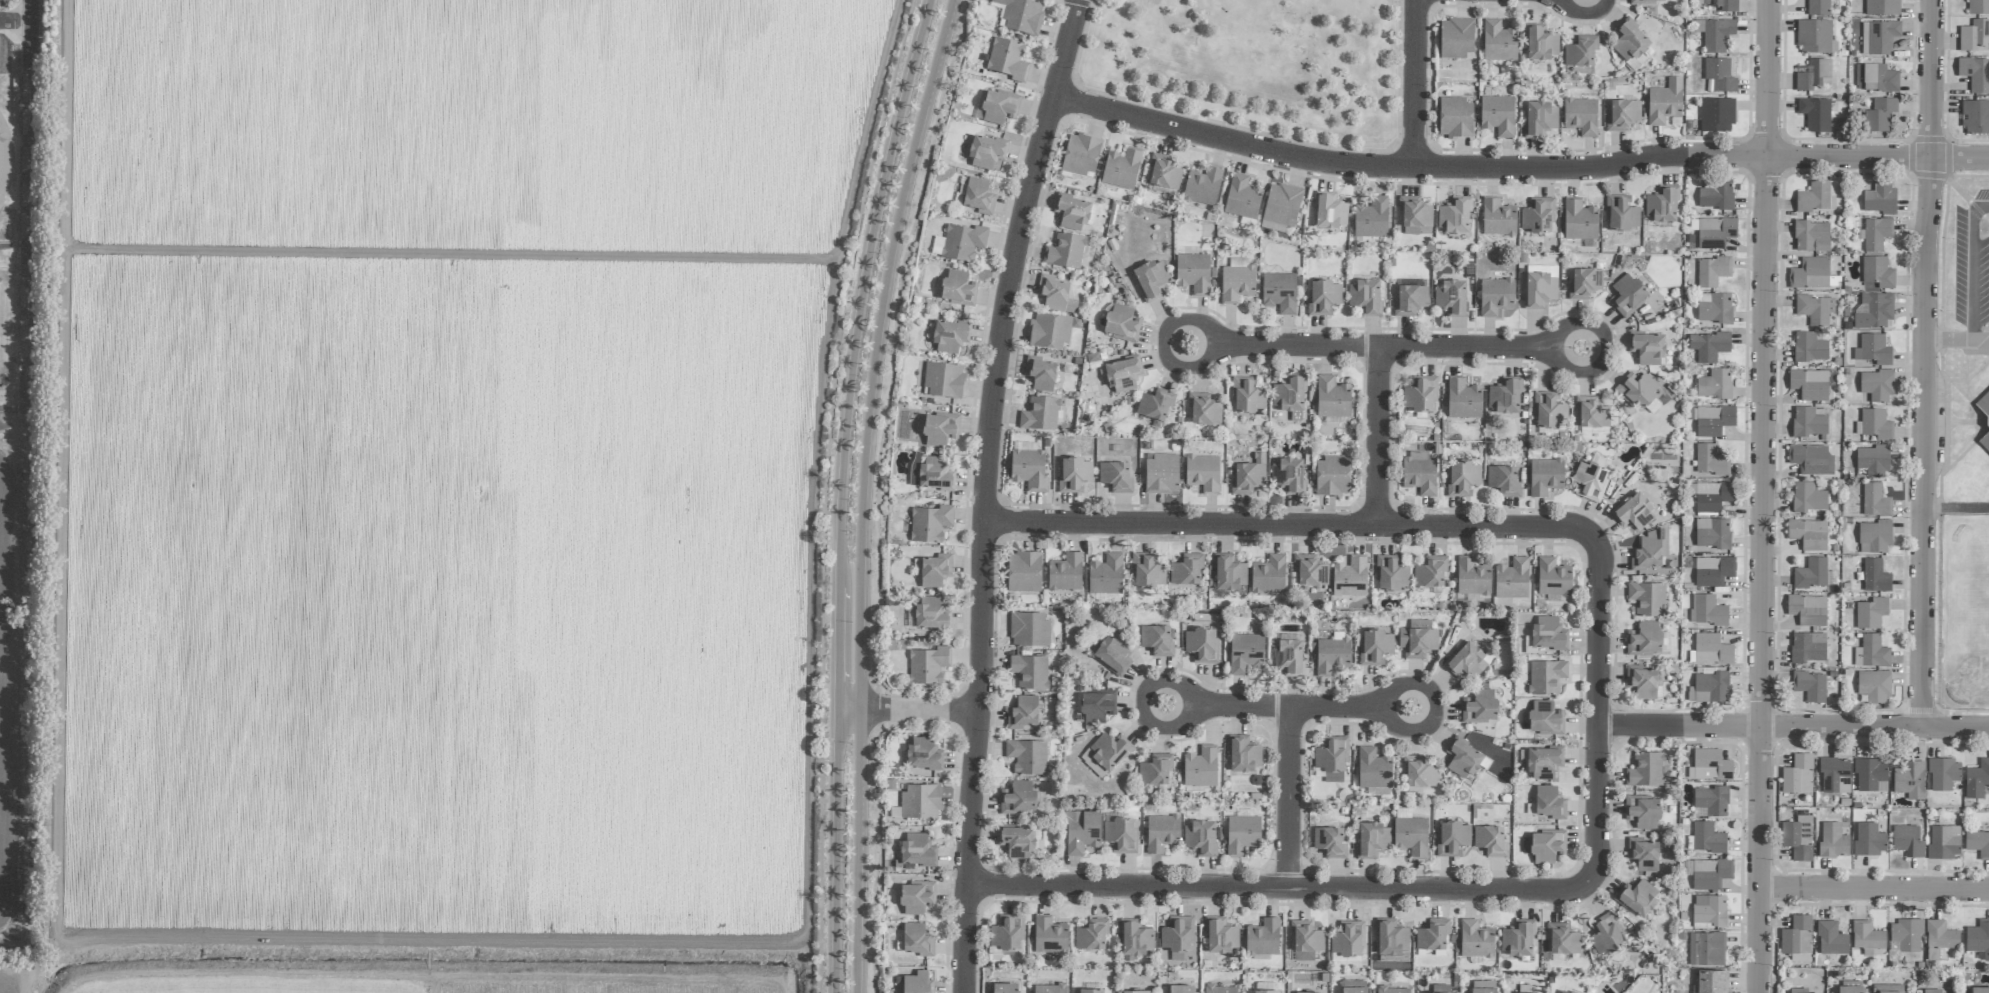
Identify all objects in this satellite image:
building: (1647, 1)
building: (1726, 5)
building: (1882, 7)
building: (1978, 7)
building: (1818, 8)
road: (30, 10)
building: (1021, 15)
road: (15, 19)
building: (1974, 35)
building: (1815, 37)
building: (1879, 37)
building: (1456, 38)
building: (1630, 41)
building: (1498, 42)
building: (1540, 44)
building: (1580, 52)
building: (1007, 59)
park: (1255, 64)
building: (1975, 74)
building: (1720, 75)
building: (1814, 75)
building: (1876, 78)
road: (1417, 84)
building: (1664, 102)
building: (998, 107)
building: (1815, 114)
building: (1497, 115)
building: (1622, 115)
building: (1717, 115)
building: (1880, 115)
building: (1581, 116)
building: (1975, 117)
building: (1455, 118)
building: (1540, 118)
building: (985, 152)
building: (1081, 155)
track: (5, 157)
road: (889, 157)
road: (911, 161)
building: (1121, 168)
road: (1519, 169)
building: (1163, 172)
building: (1202, 187)
building: (1717, 195)
building: (978, 196)
building: (1818, 197)
building: (1242, 198)
building: (1880, 198)
building: (1281, 205)
building: (1661, 205)
building: (1074, 212)
building: (1329, 212)
building: (1621, 214)
building: (1412, 215)
building: (1537, 215)
building: (1454, 216)
building: (1371, 218)
building: (1498, 218)
building: (1579, 221)
building: (1713, 232)
building: (1876, 233)
building: (1811, 236)
building: (963, 242)
building: (937, 245)
building: (1065, 251)
road: (1972, 264)
building: (1712, 271)
building: (1877, 272)
building: (1193, 273)
building: (1810, 274)
building: (1151, 279)
building: (1237, 281)
building: (1585, 283)
building: (1539, 286)
building: (958, 288)
building: (1279, 292)
building: (1055, 294)
building: (1627, 295)
building: (1495, 296)
building: (1323, 297)
building: (1365, 297)
building: (1451, 298)
building: (1410, 300)
building: (1714, 308)
building: (1815, 309)
building: (1875, 311)
building: (1121, 323)
building: (1051, 330)
building: (949, 336)
road: (1980, 336)
road: (1949, 337)
building: (1709, 346)
building: (1810, 346)
road: (1387, 347)
building: (1648, 349)
building: (1873, 350)
road: (1925, 364)
building: (1041, 373)
building: (1123, 375)
building: (943, 380)
building: (1714, 384)
building: (1809, 384)
building: (1877, 385)
building: (1637, 390)
building: (1420, 394)
building: (1504, 396)
building: (1247, 397)
building: (1290, 397)
building: (1332, 398)
building: (1463, 400)
building: (1983, 404)
building: (1155, 406)
building: (1203, 409)
road: (7, 410)
building: (1549, 411)
building: (1590, 413)
building: (1040, 414)
building: (1713, 421)
building: (1808, 422)
building: (1876, 425)
building: (940, 429)
building: (1593, 431)
road: (1381, 437)
building: (1985, 443)
building: (1811, 459)
building: (1710, 461)
building: (1873, 461)
building: (1029, 470)
building: (1203, 473)
building: (1419, 473)
building: (1073, 474)
building: (1162, 474)
building: (1289, 475)
building: (1115, 476)
building: (1332, 476)
building: (1545, 476)
building: (1247, 477)
building: (1462, 478)
building: (1503, 480)
building: (1591, 481)
crop: (435, 489)
road: (987, 491)
building: (1711, 496)
road: (1765, 496)
building: (1808, 498)
building: (1875, 501)
building: (1634, 512)
road: (860, 515)
building: (930, 523)
road: (1295, 526)
building: (1712, 533)
building: (1808, 534)
building: (1874, 537)
building: (1651, 551)
building: (1186, 569)
building: (934, 570)
building: (1310, 570)
building: (1147, 571)
building: (1713, 571)
building: (1023, 572)
building: (1065, 573)
building: (1229, 573)
building: (1430, 573)
building: (1811, 573)
building: (1391, 574)
building: (1106, 575)
building: (1268, 575)
building: (1875, 576)
building: (1472, 577)
building: (1349, 578)
building: (1553, 578)
building: (1512, 579)
building: (1647, 598)
building: (1808, 610)
building: (1710, 611)
building: (1871, 613)
building: (930, 614)
building: (1029, 630)
building: (1547, 633)
building: (1417, 639)
building: (1644, 639)
building: (1156, 640)
building: (1201, 645)
building: (1376, 646)
building: (1808, 647)
building: (1712, 650)
building: (1245, 652)
building: (1871, 652)
building: (1113, 653)
building: (1332, 654)
road: (834, 655)
building: (1288, 657)
building: (1466, 659)
building: (928, 665)
building: (1030, 671)
building: (1546, 677)
building: (1642, 681)
building: (1810, 686)
building: (1874, 686)
building: (1709, 688)
building: (1097, 706)
road: (1277, 707)
building: (1479, 707)
road: (907, 709)
building: (1022, 712)
road: (1602, 713)
building: (1545, 718)
road: (1683, 727)
road: (1876, 728)
building: (1109, 750)
building: (1243, 755)
building: (923, 756)
building: (1027, 757)
building: (1331, 759)
building: (1462, 759)
building: (1543, 762)
building: (1710, 766)
building: (1200, 767)
building: (1648, 769)
building: (1155, 770)
building: (1374, 771)
building: (1418, 772)
building: (1869, 774)
building: (1944, 774)
building: (1798, 775)
building: (1835, 775)
building: (1910, 780)
building: (1977, 780)
building: (1018, 798)
road: (1292, 798)
building: (920, 801)
building: (1710, 802)
building: (1548, 803)
building: (1643, 812)
building: (1403, 813)
building: (1081, 832)
building: (1162, 833)
building: (1242, 835)
building: (1120, 836)
building: (1410, 837)
building: (1452, 837)
building: (1798, 837)
building: (1200, 838)
building: (1707, 838)
building: (1372, 839)
building: (1869, 839)
building: (1489, 840)
building: (1833, 840)
building: (1017, 841)
building: (1908, 841)
building: (1329, 842)
building: (1944, 842)
building: (1978, 843)
building: (1547, 847)
building: (916, 850)
road: (856, 851)
building: (1643, 854)
building: (1710, 874)
road: (1283, 887)
road: (1875, 890)
building: (917, 897)
building: (1638, 897)
building: (1709, 911)
building: (1005, 934)
building: (1605, 934)
building: (1049, 935)
building: (1091, 935)
building: (1906, 935)
building: (1177, 936)
building: (1221, 936)
building: (1797, 936)
building: (1432, 937)
building: (1867, 937)
building: (1135, 938)
building: (1263, 938)
building: (1391, 938)
building: (1940, 938)
building: (1978, 938)
building: (1517, 939)
building: (1562, 939)
building: (1831, 939)
building: (917, 940)
building: (1348, 940)
building: (1475, 940)
building: (1306, 941)
building: (1707, 949)
building: (1710, 982)
building: (916, 983)
building: (1354, 986)
building: (1484, 987)
building: (1003, 988)
building: (1049, 988)
building: (1887, 988)
building: (1182, 989)
building: (1220, 989)
building: (1441, 989)
building: (1850, 989)
building: (1393, 990)
building: (1798, 990)
building: (1979, 990)
building: (1090, 991)
building: (1267, 991)
building: (1932, 991)
building: (1134, 992)
building: (1309, 992)
building: (1563, 992)

